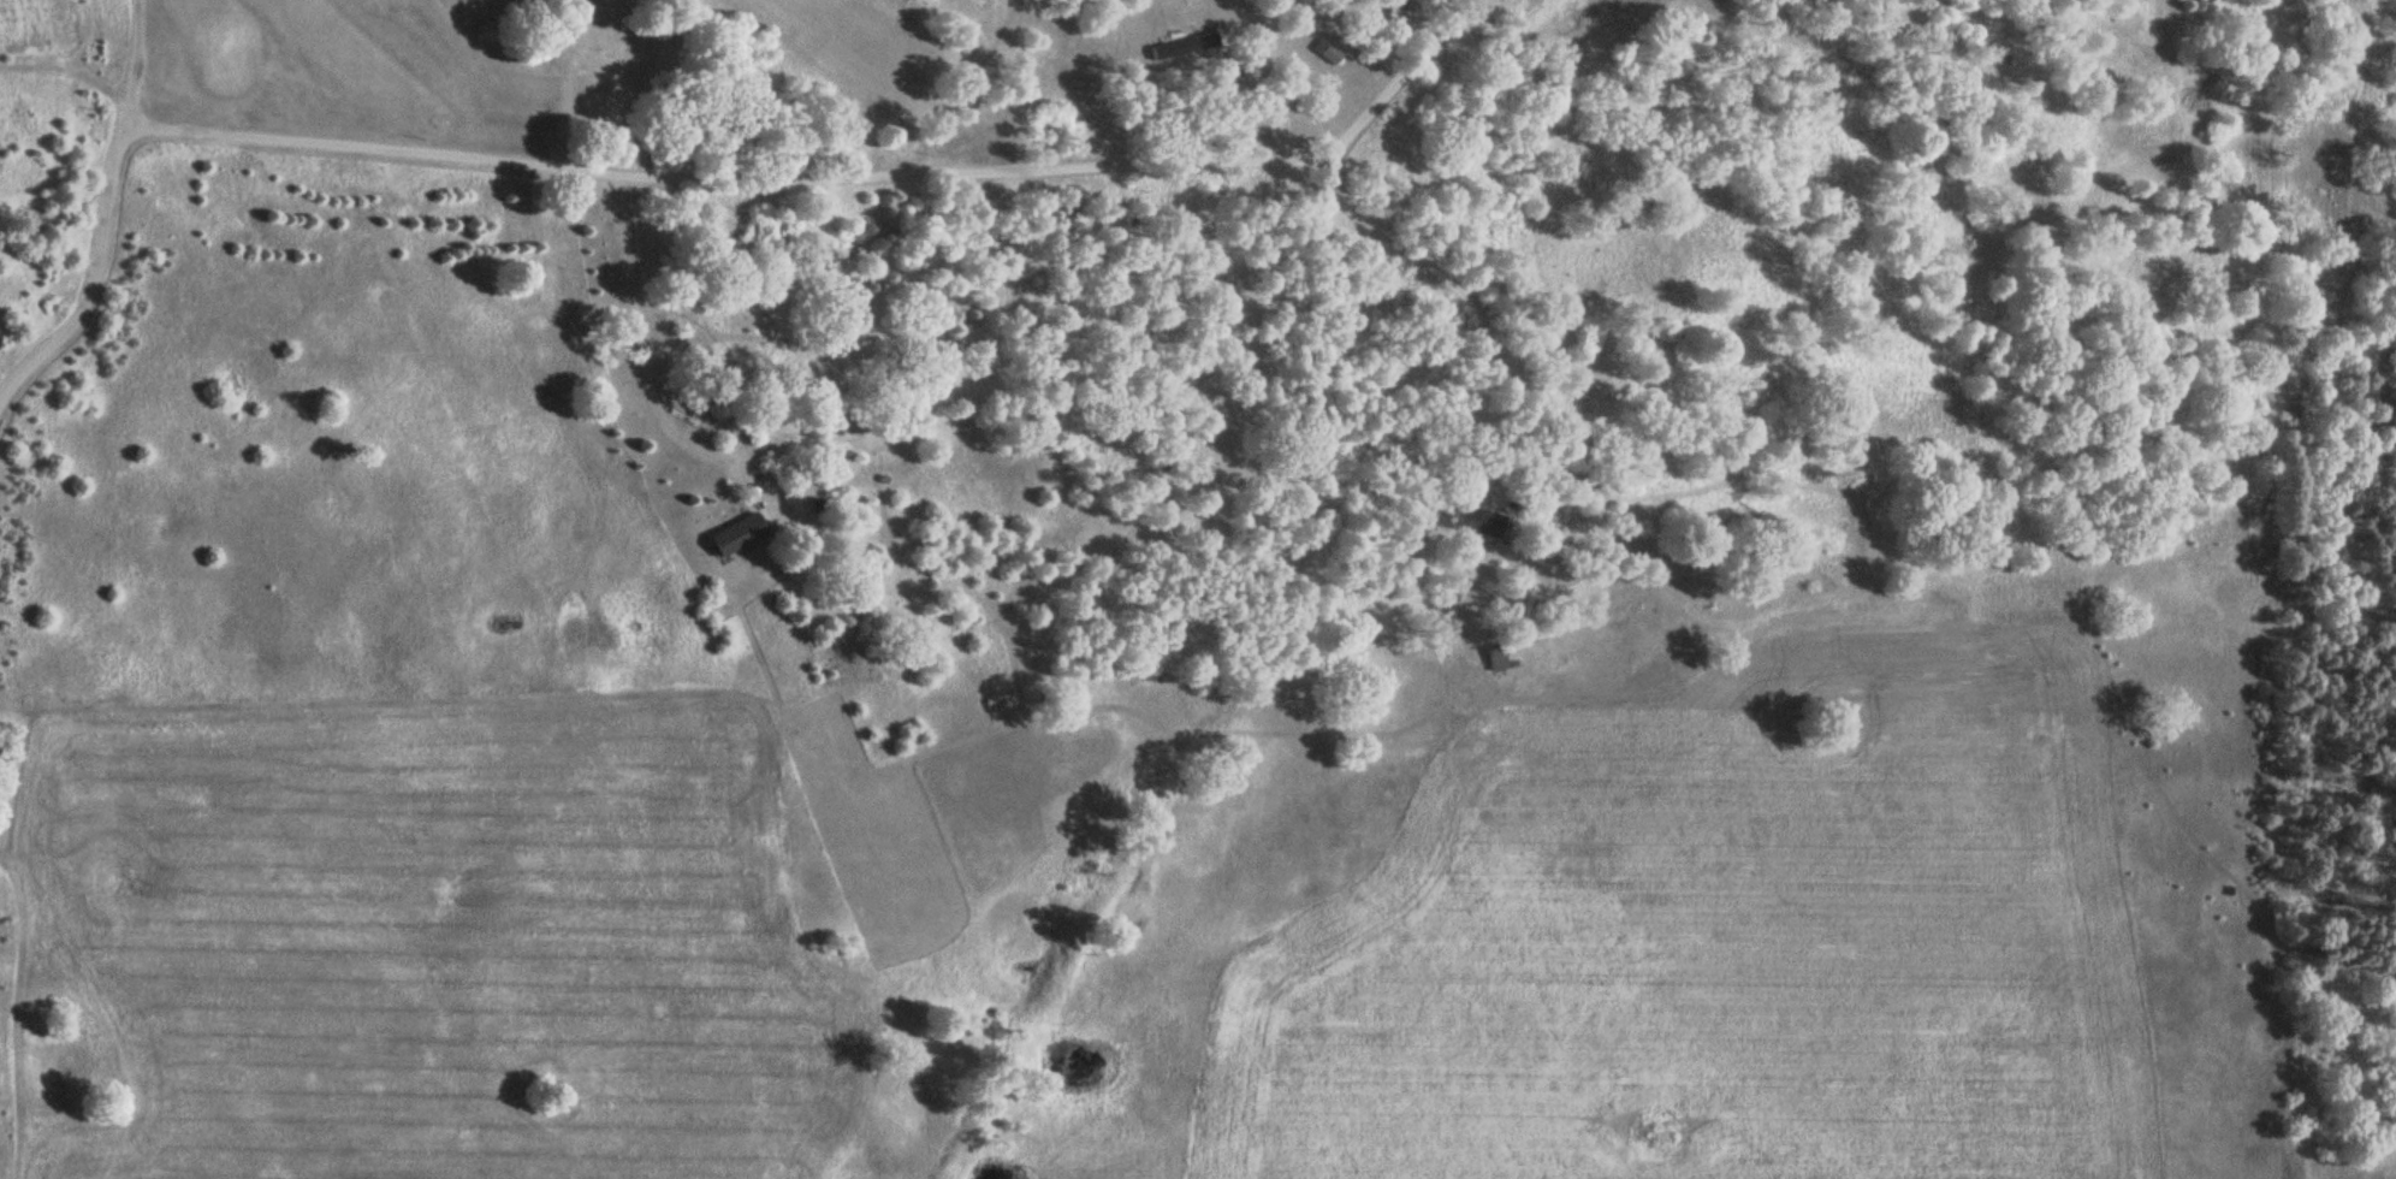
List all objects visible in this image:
building: (1328, 51)
park: (402, 59)
road: (130, 76)
road: (819, 174)
road: (90, 289)
building: (1479, 522)
building: (740, 537)
building: (1499, 654)

